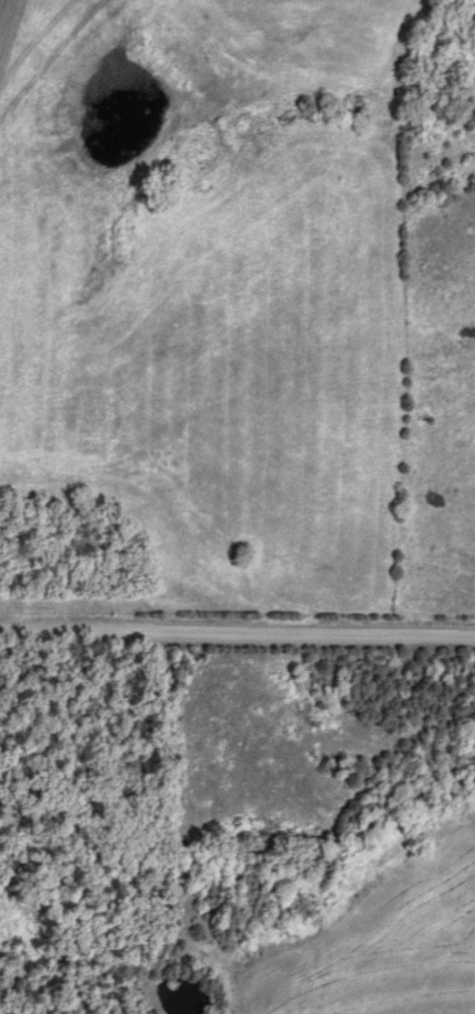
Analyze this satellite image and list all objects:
road: (237, 631)

